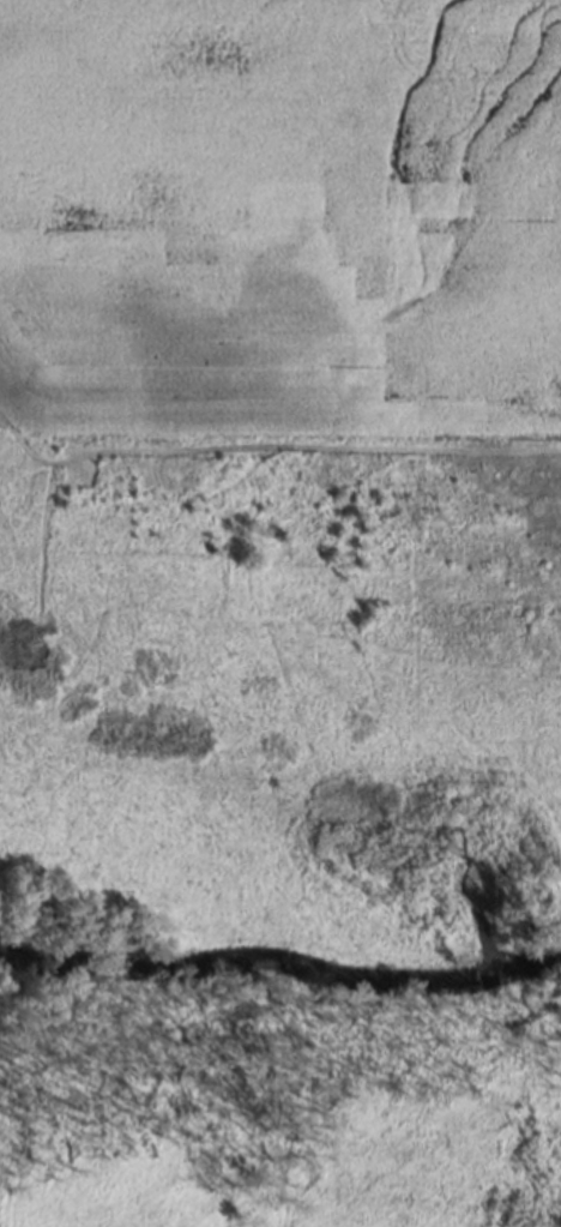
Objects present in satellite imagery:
river: (551, 968)
river: (271, 987)

